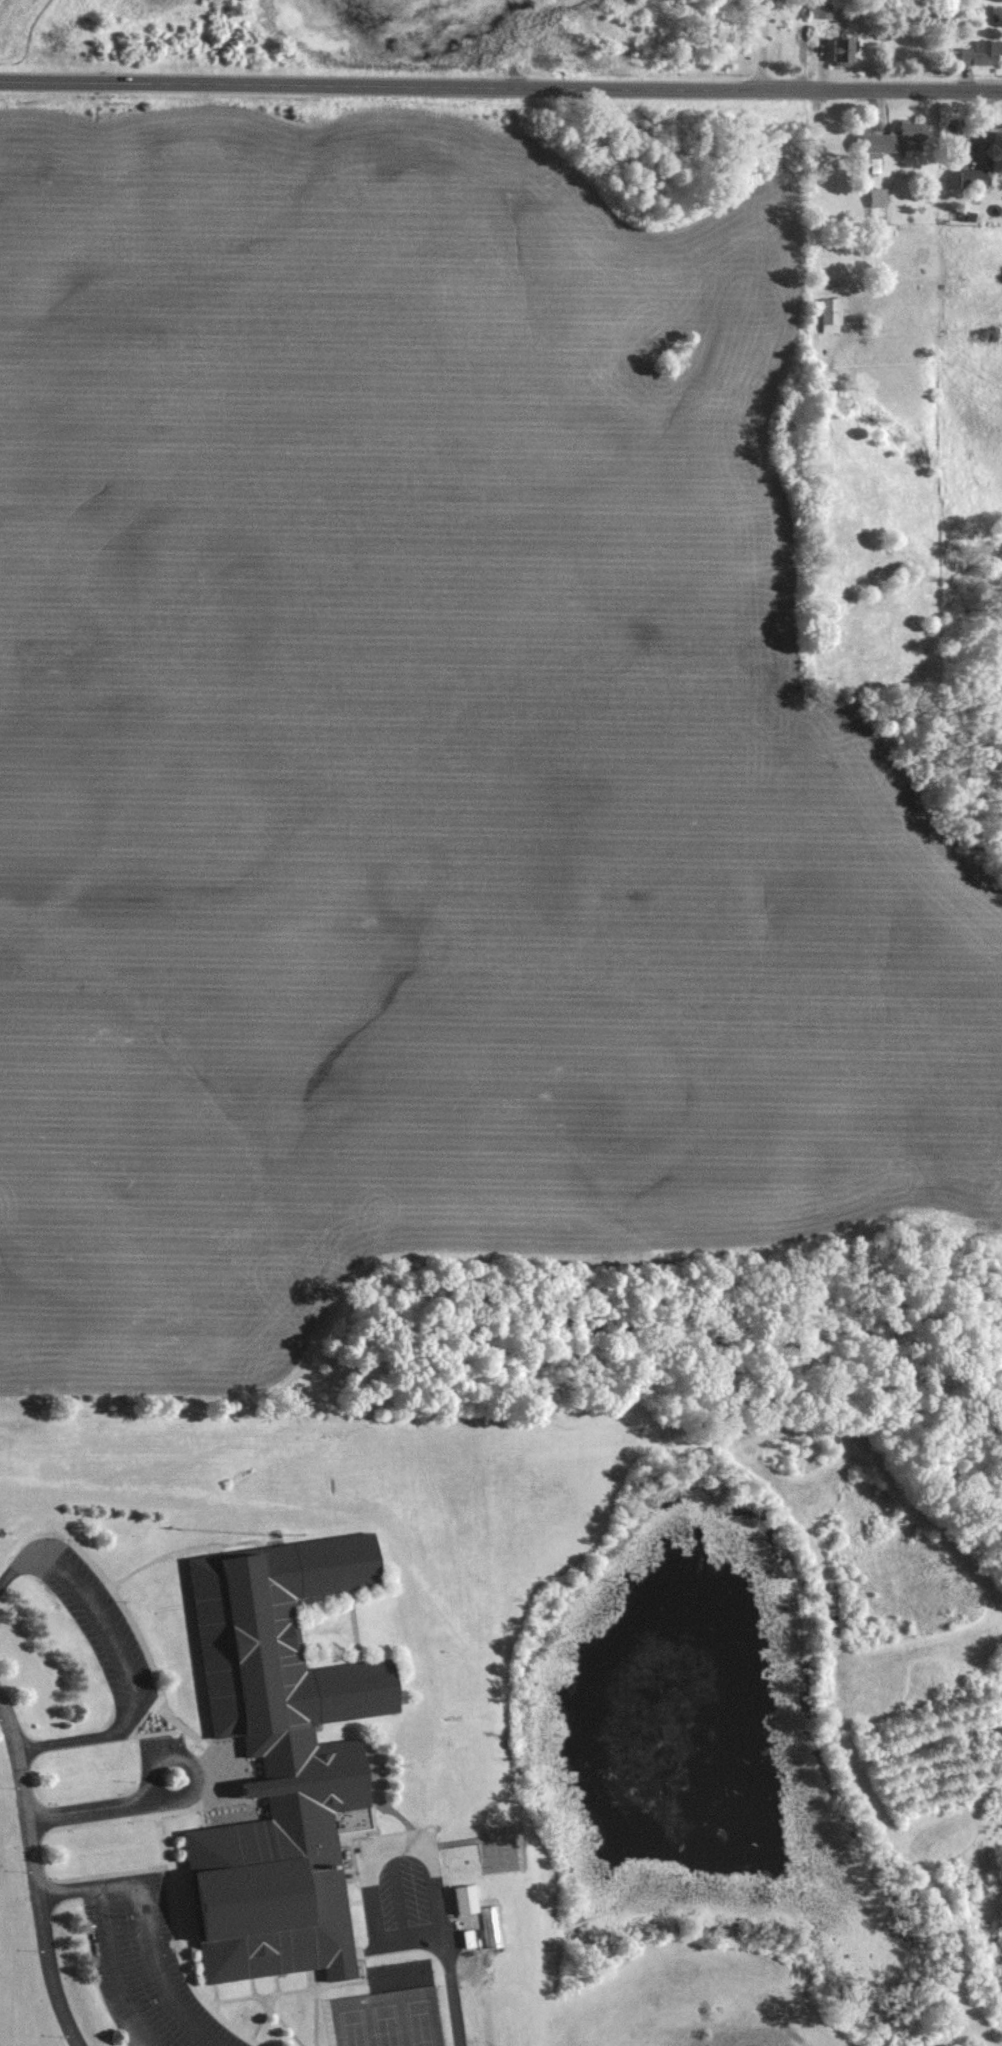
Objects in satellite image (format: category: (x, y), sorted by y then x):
road: (1, 1)
building: (818, 11)
road: (765, 44)
building: (839, 53)
building: (980, 53)
road: (307, 82)
road: (807, 88)
building: (894, 140)
building: (993, 153)
building: (968, 179)
building: (877, 197)
building: (830, 316)
road: (121, 1656)
building: (277, 1761)
road: (24, 1794)
road: (174, 1801)
building: (463, 1899)
road: (146, 1922)
building: (492, 1937)
road: (49, 1971)
road: (113, 1971)
road: (453, 1987)
park: (387, 2017)

